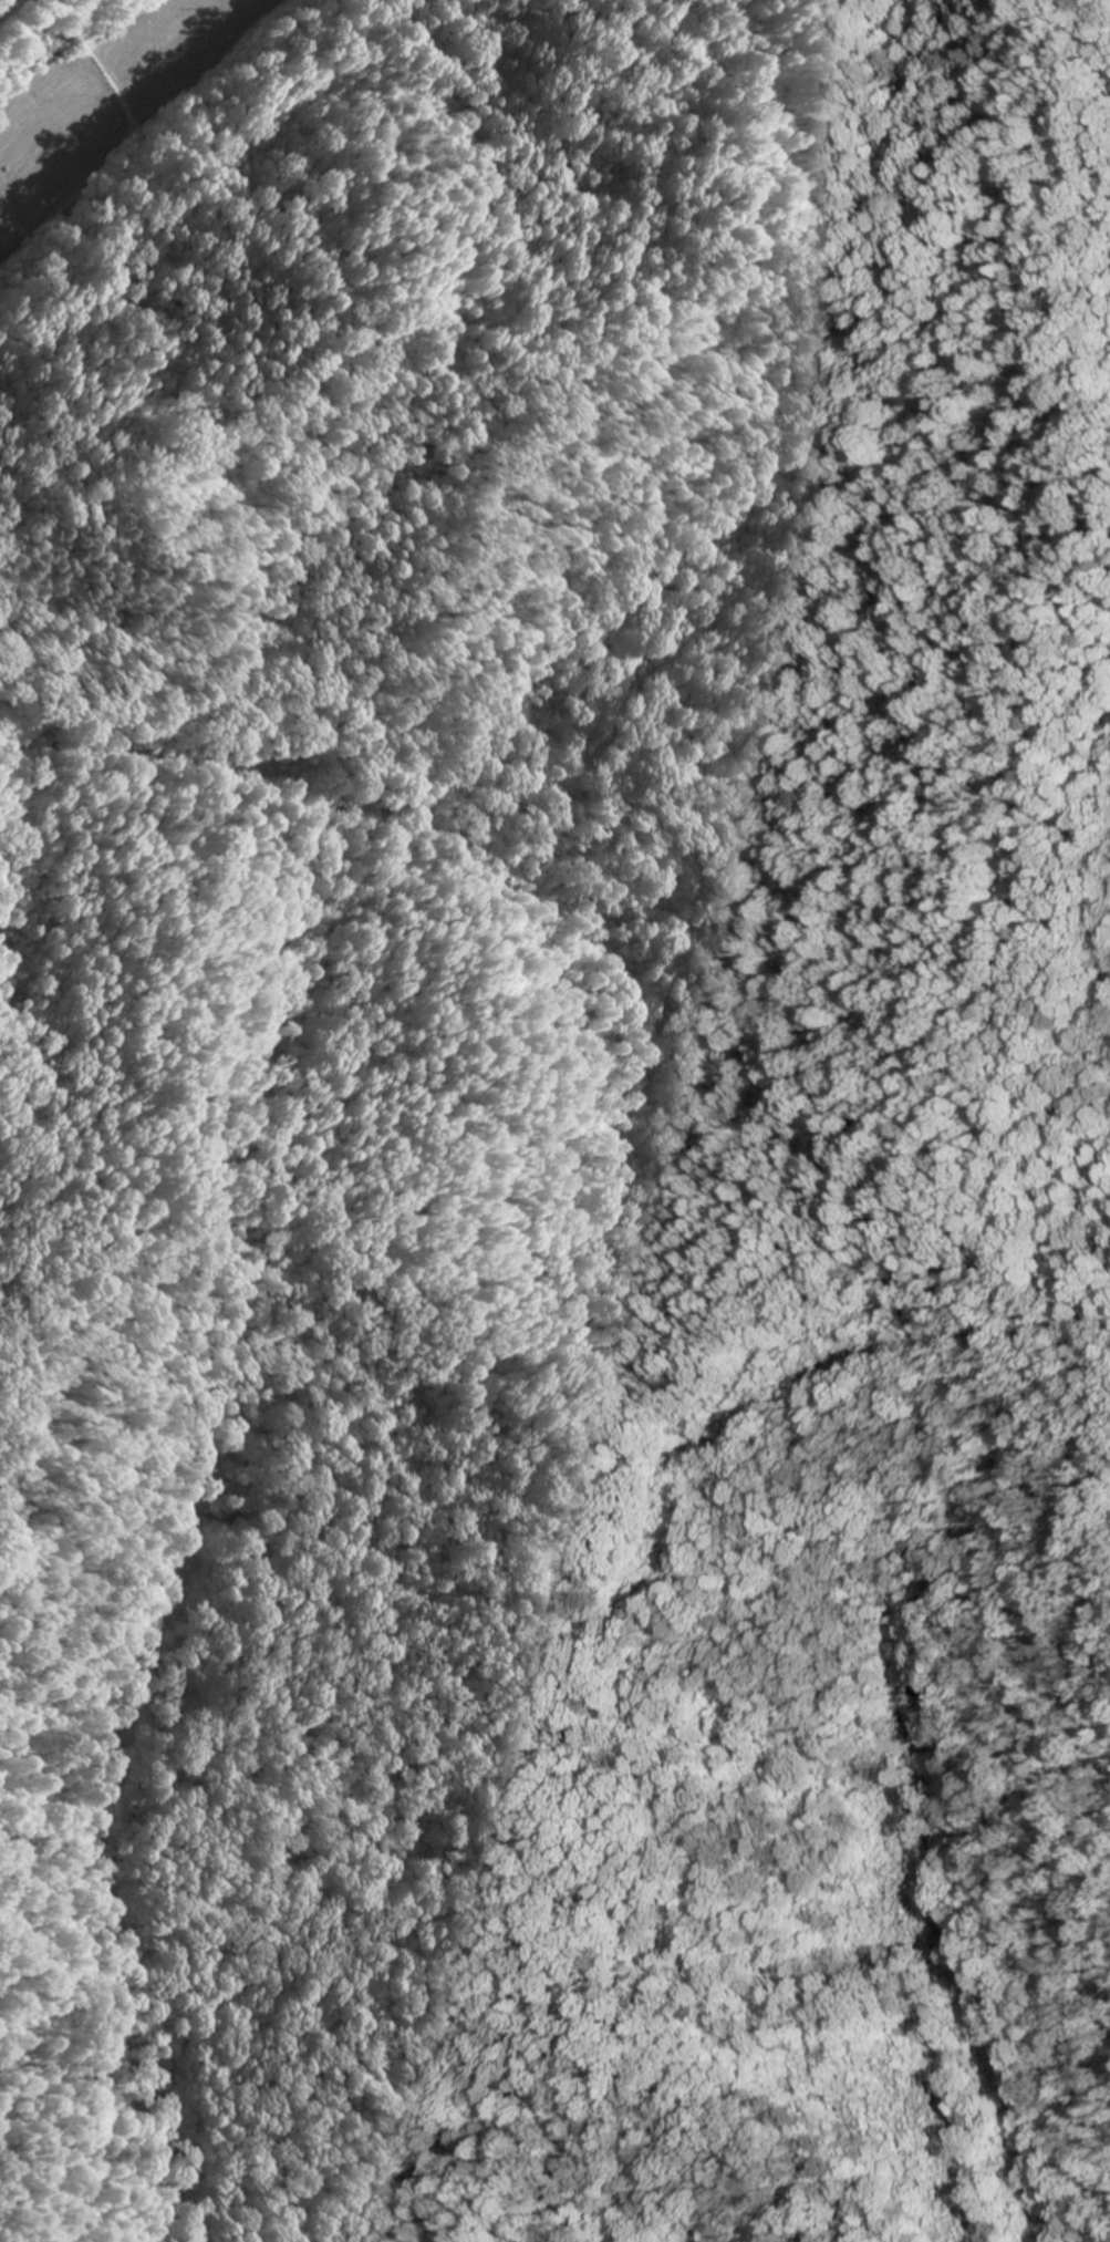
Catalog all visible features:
road: (11, 9)

